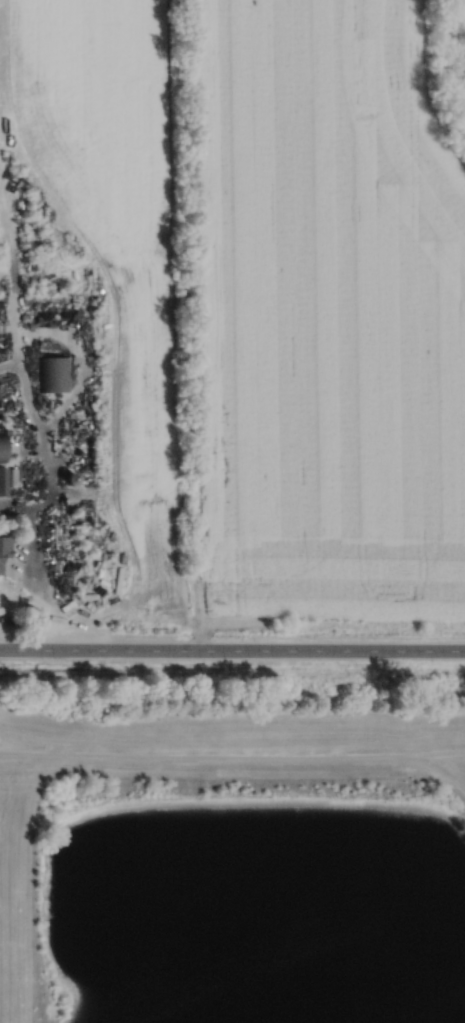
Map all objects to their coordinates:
crop: (323, 316)
road: (11, 362)
building: (54, 374)
road: (66, 403)
road: (37, 423)
building: (2, 448)
building: (69, 477)
building: (2, 481)
building: (4, 547)
road: (232, 649)
road: (238, 757)

